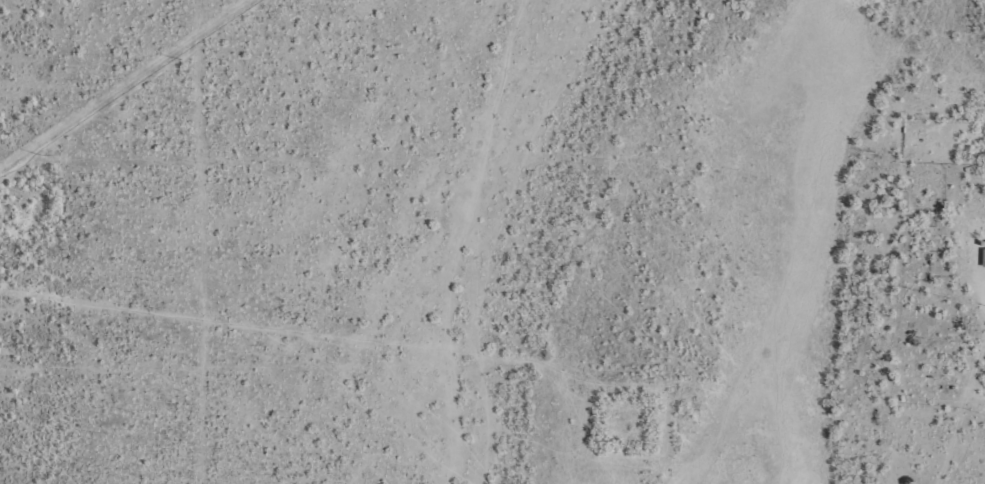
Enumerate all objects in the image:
road: (430, 172)
road: (428, 351)
road: (940, 413)

